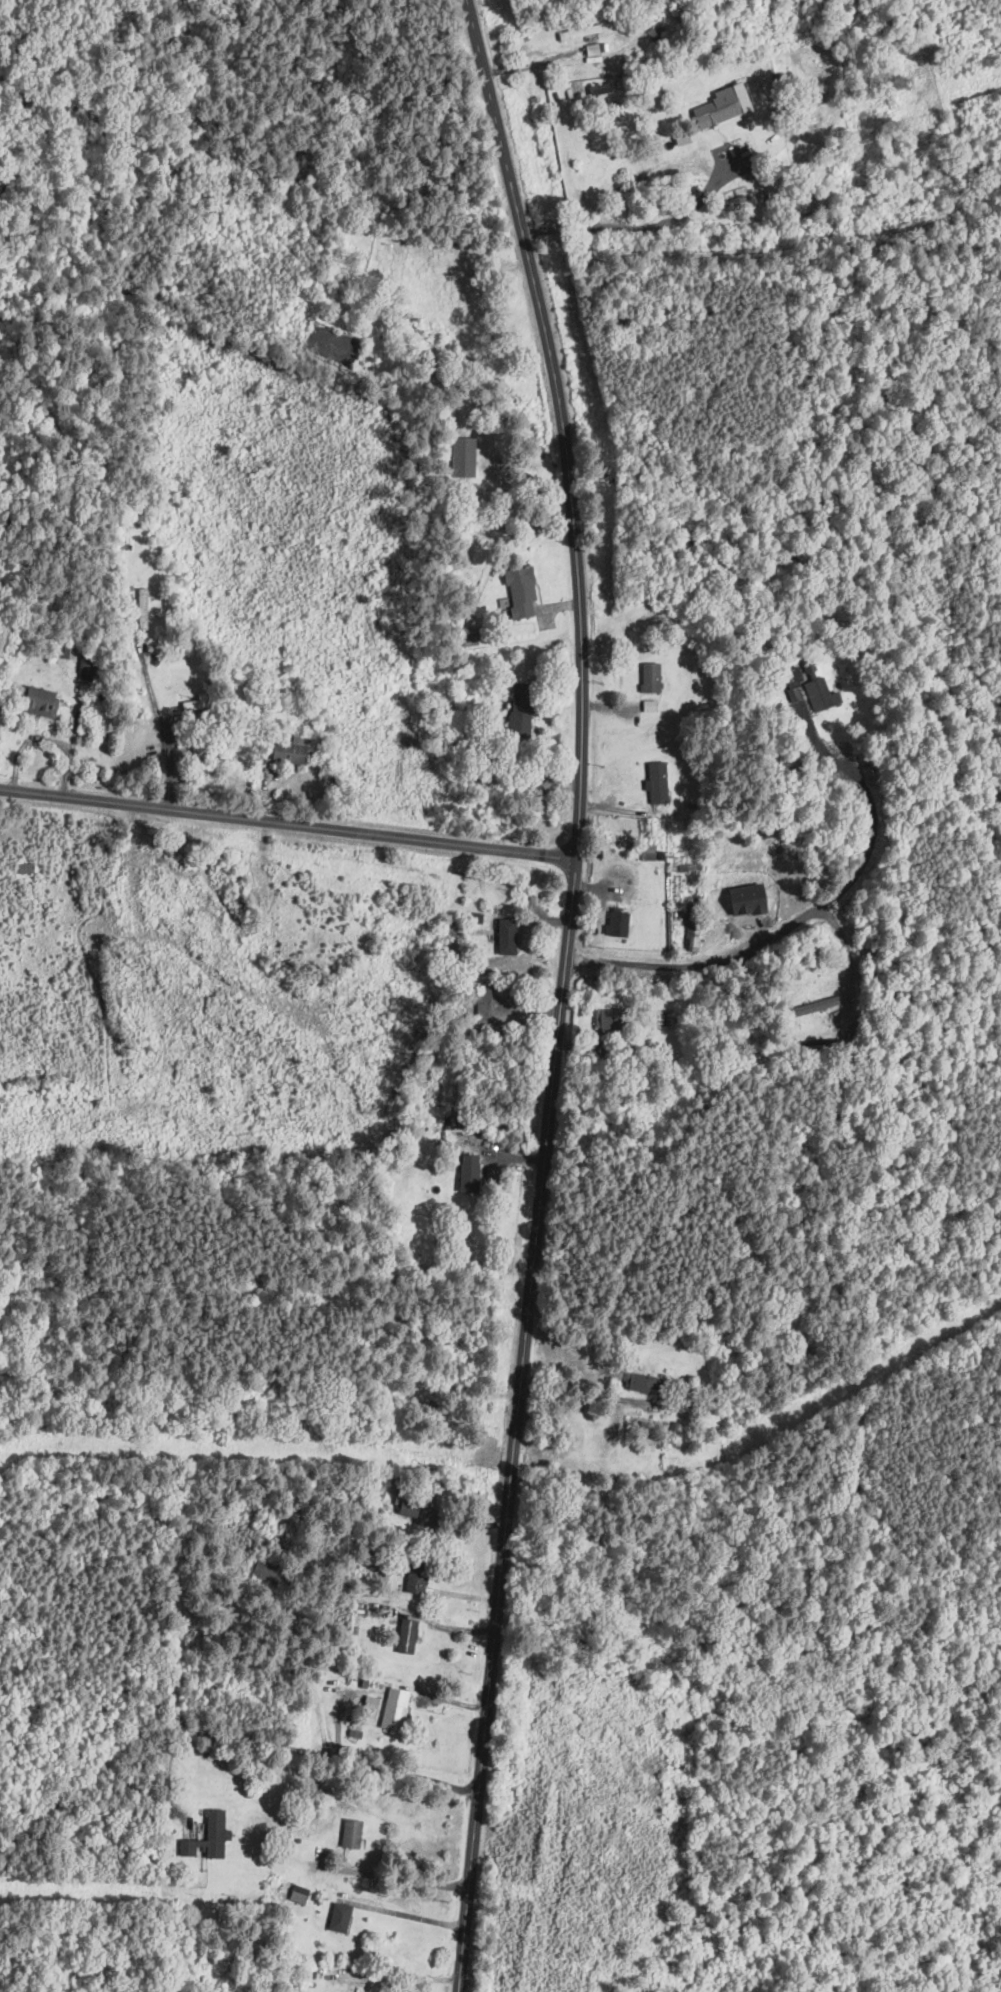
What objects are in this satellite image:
building: (597, 87)
building: (719, 104)
road: (646, 226)
building: (461, 456)
building: (517, 590)
building: (647, 677)
building: (792, 677)
building: (817, 689)
building: (515, 724)
road: (164, 728)
building: (654, 782)
road: (288, 823)
road: (817, 911)
building: (614, 923)
building: (503, 937)
building: (691, 938)
road: (562, 992)
building: (814, 1005)
building: (602, 1019)
building: (466, 1168)
road: (707, 1251)
building: (639, 1382)
road: (571, 1392)
building: (612, 1413)
building: (412, 1582)
building: (403, 1635)
building: (367, 1705)
building: (391, 1708)
road: (288, 1747)
building: (348, 1832)
building: (205, 1836)
road: (398, 1875)
building: (296, 1894)
building: (336, 1916)
road: (410, 1918)
road: (410, 1976)

